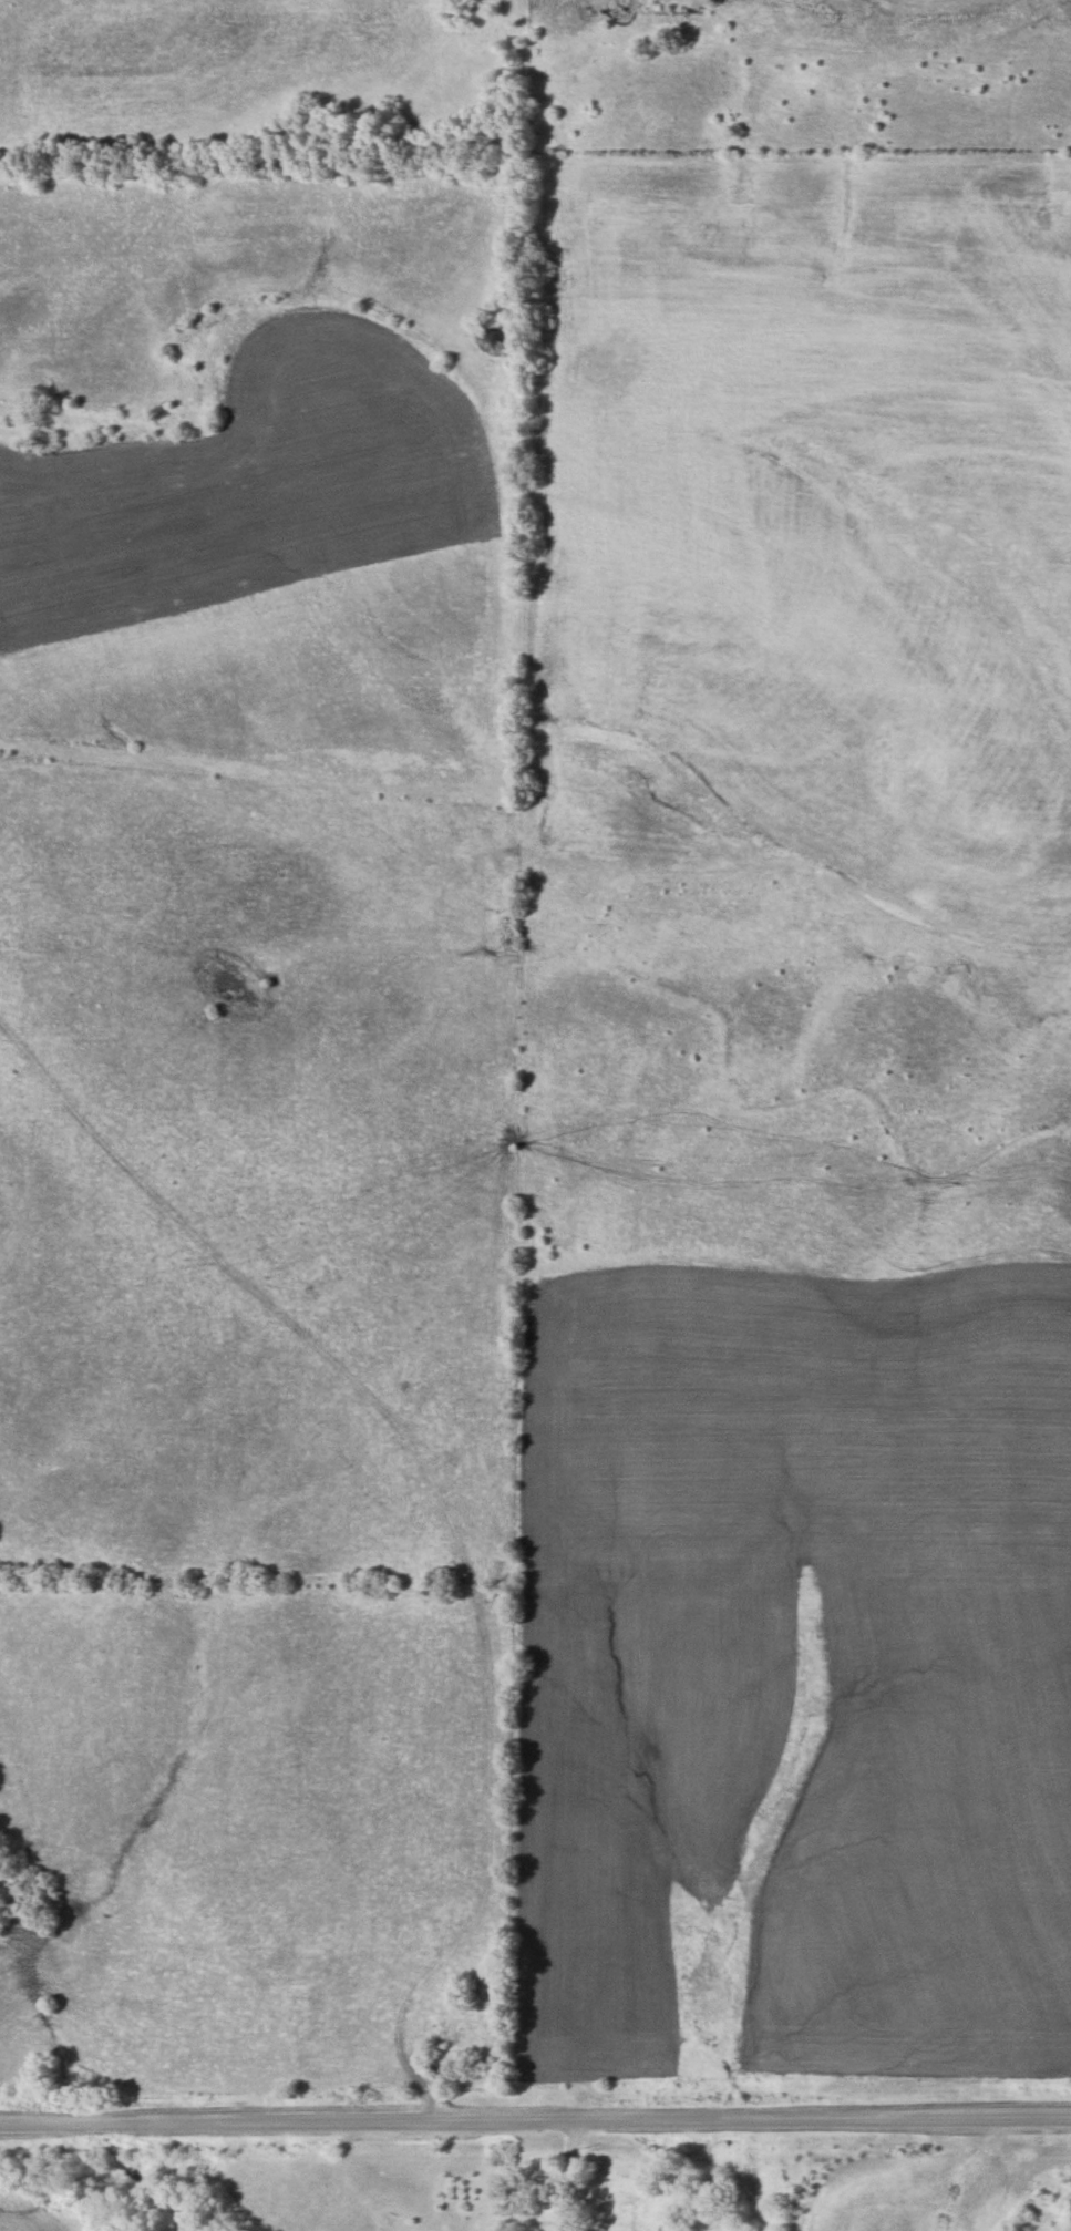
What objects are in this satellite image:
road: (535, 2120)
road: (569, 2175)

